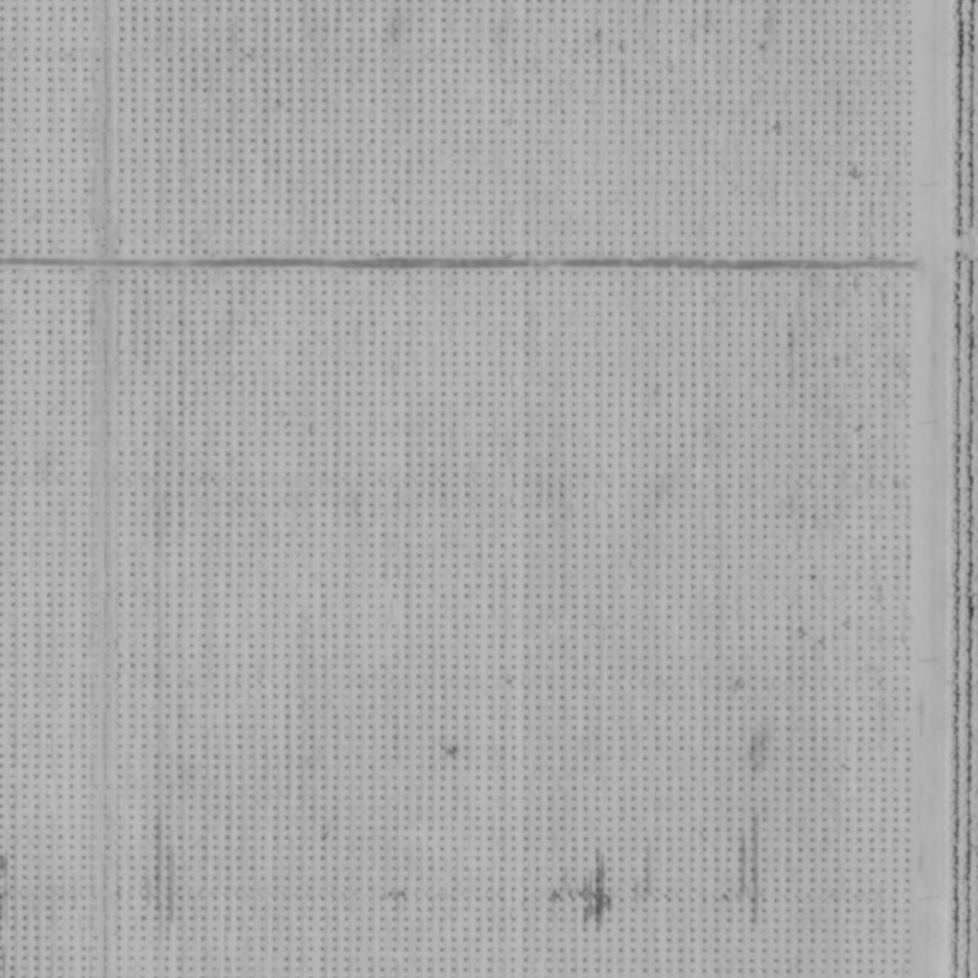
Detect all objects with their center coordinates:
road: (951, 245)
road: (462, 269)
road: (924, 488)

